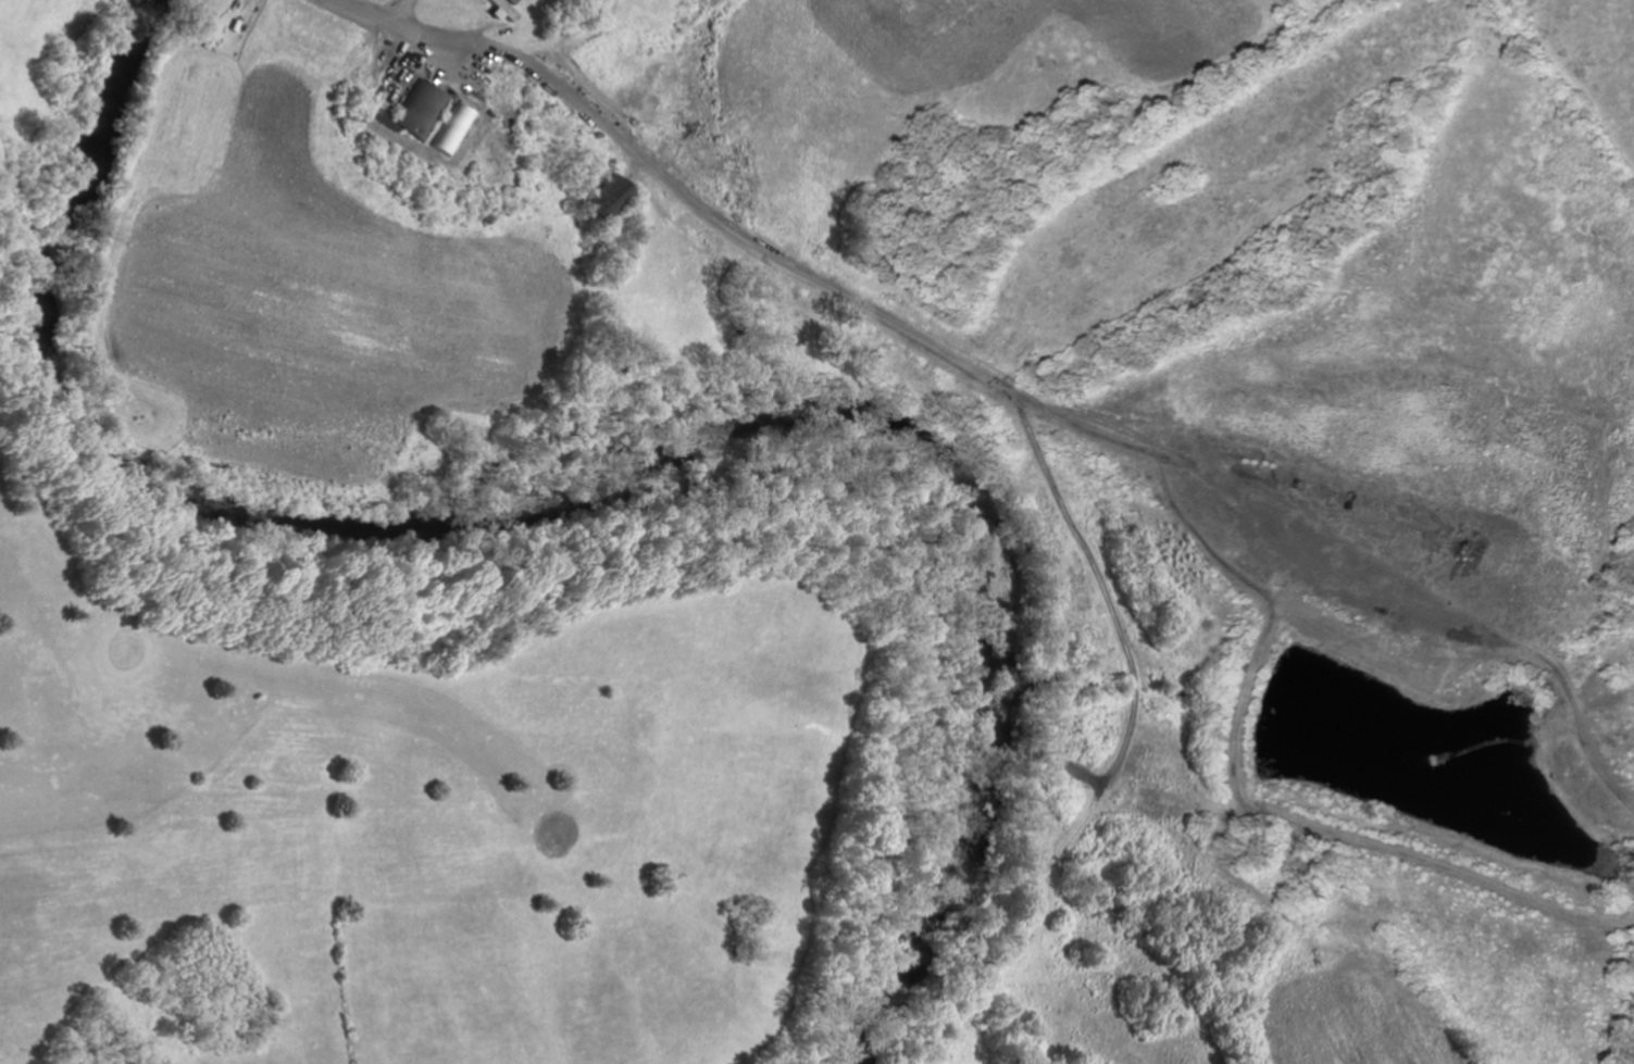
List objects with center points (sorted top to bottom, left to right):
building: (499, 10)
road: (373, 15)
road: (523, 71)
building: (417, 110)
building: (449, 129)
building: (593, 199)

